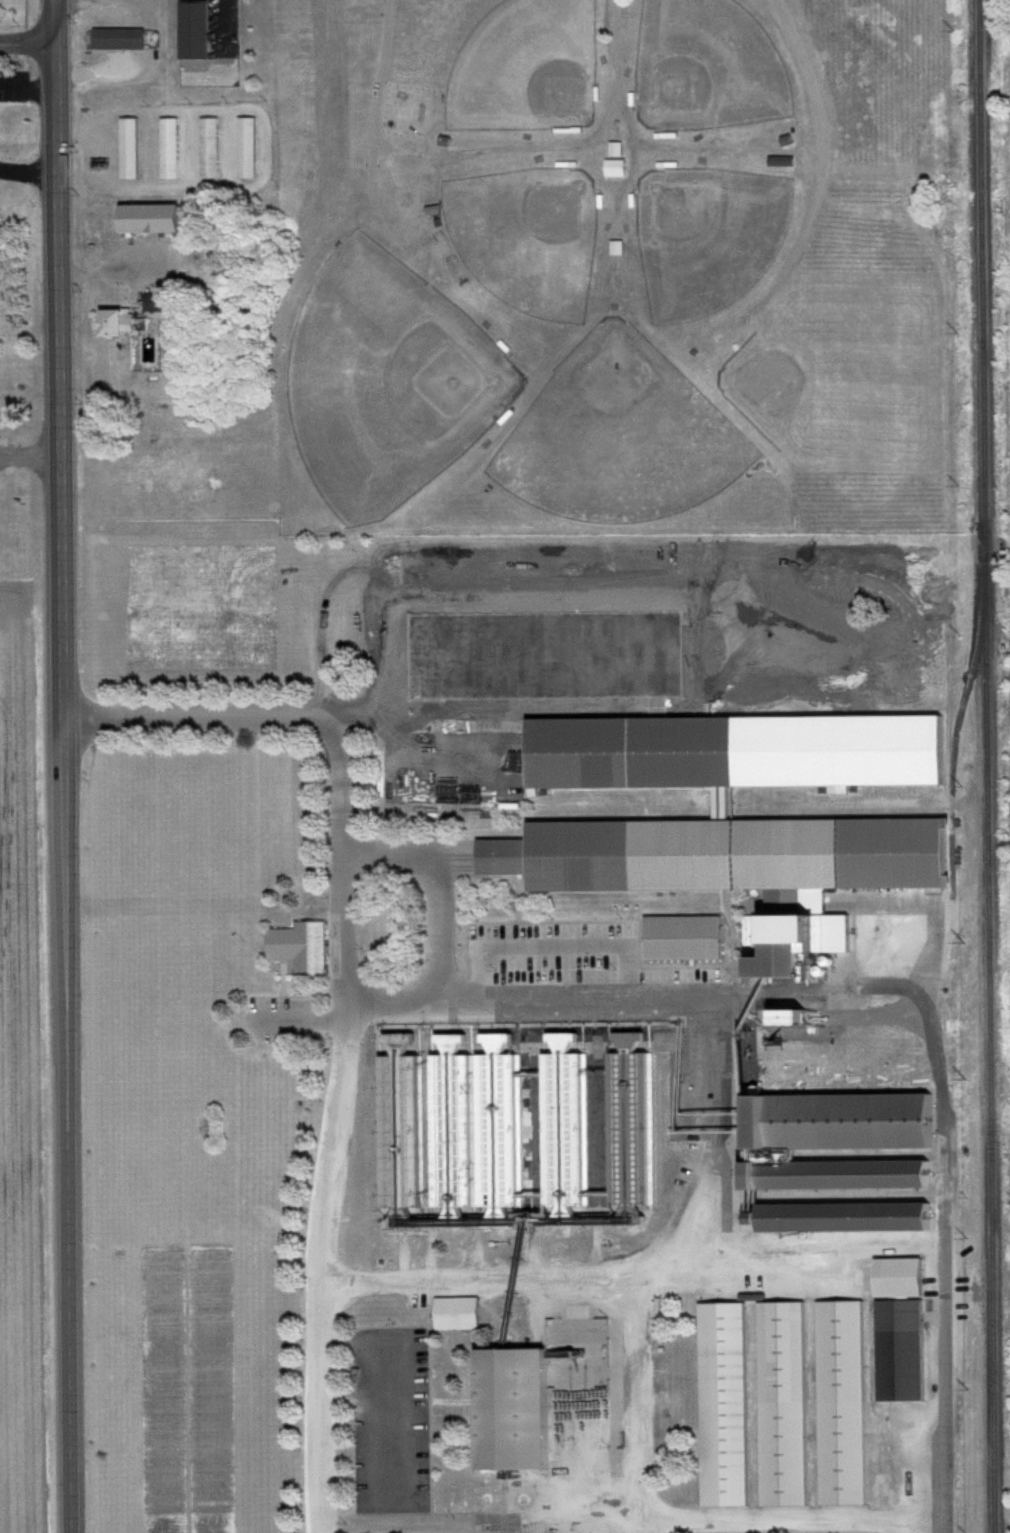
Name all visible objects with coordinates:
building: (195, 30)
building: (122, 38)
road: (26, 43)
park: (704, 68)
park: (524, 69)
road: (27, 85)
building: (179, 148)
building: (212, 148)
building: (221, 148)
building: (257, 148)
building: (138, 149)
building: (611, 150)
building: (776, 162)
building: (611, 169)
road: (27, 173)
building: (157, 217)
park: (524, 239)
park: (704, 239)
building: (612, 249)
park: (618, 268)
road: (96, 272)
building: (159, 302)
building: (122, 323)
park: (384, 383)
park: (614, 438)
road: (29, 456)
railway: (954, 738)
building: (737, 753)
road: (61, 766)
railway: (983, 766)
building: (719, 856)
road: (437, 923)
building: (787, 944)
building: (294, 947)
road: (622, 993)
road: (346, 996)
road: (298, 1018)
crop: (22, 1077)
building: (833, 1124)
building: (441, 1133)
building: (488, 1133)
building: (553, 1133)
building: (619, 1133)
building: (392, 1134)
building: (832, 1177)
building: (844, 1219)
road: (803, 1247)
road: (476, 1278)
building: (895, 1280)
building: (450, 1316)
building: (897, 1353)
building: (780, 1406)
building: (839, 1406)
building: (721, 1407)
building: (510, 1412)
road: (786, 1521)

